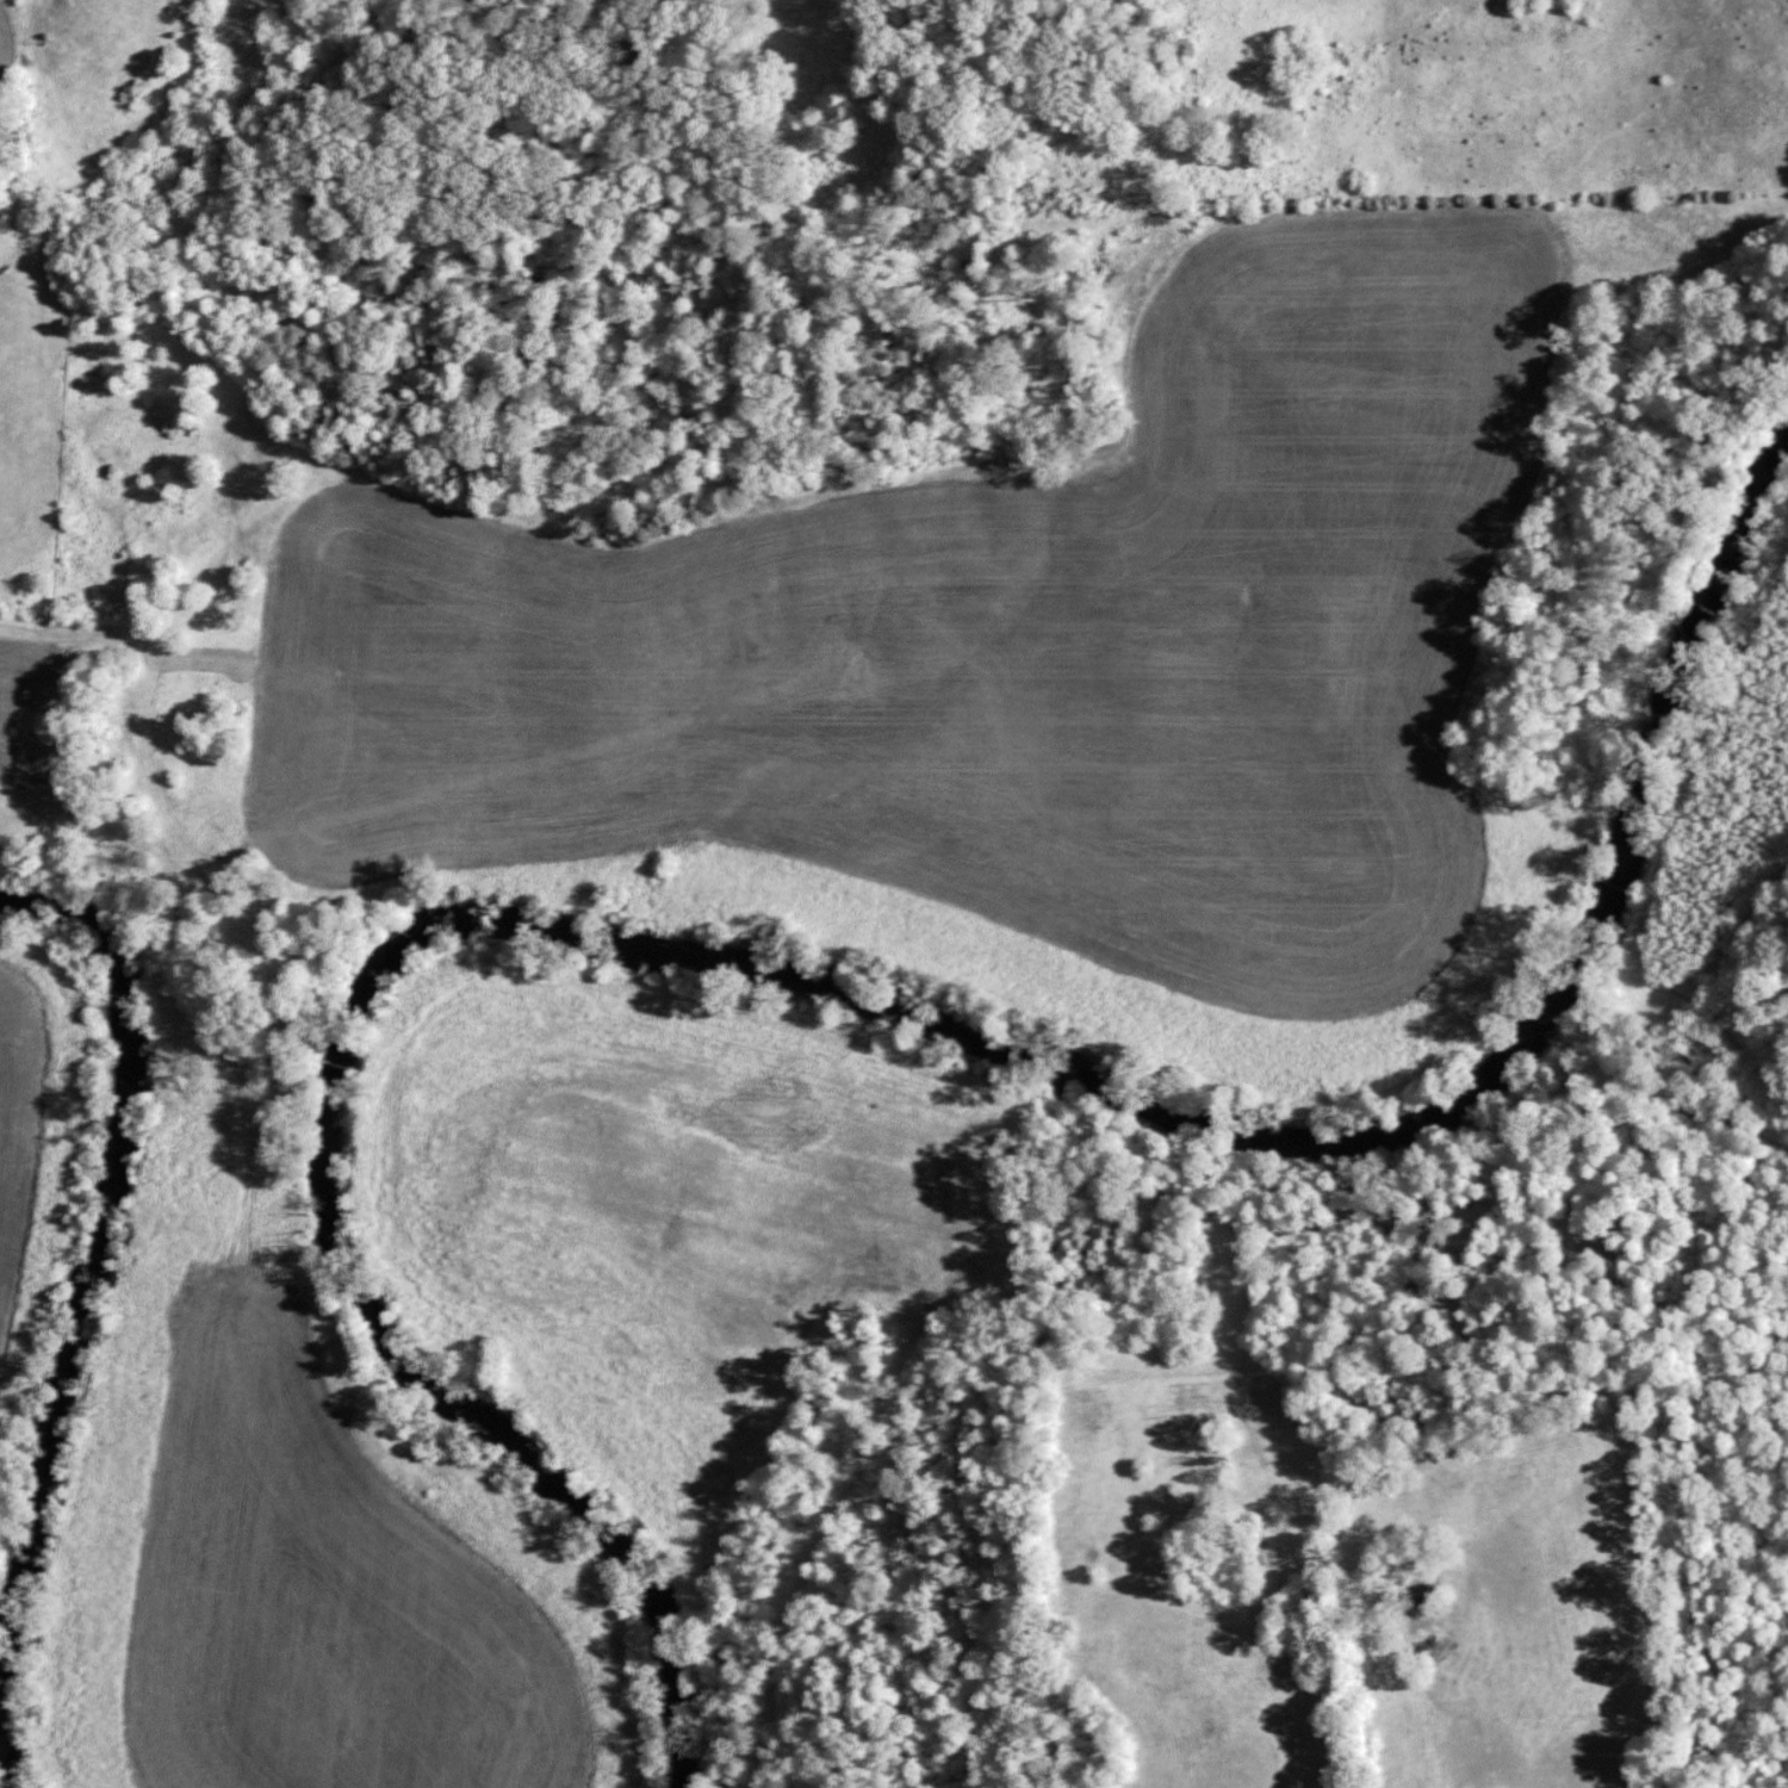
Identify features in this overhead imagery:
river: (820, 983)
river: (86, 1261)
river: (7, 1765)

